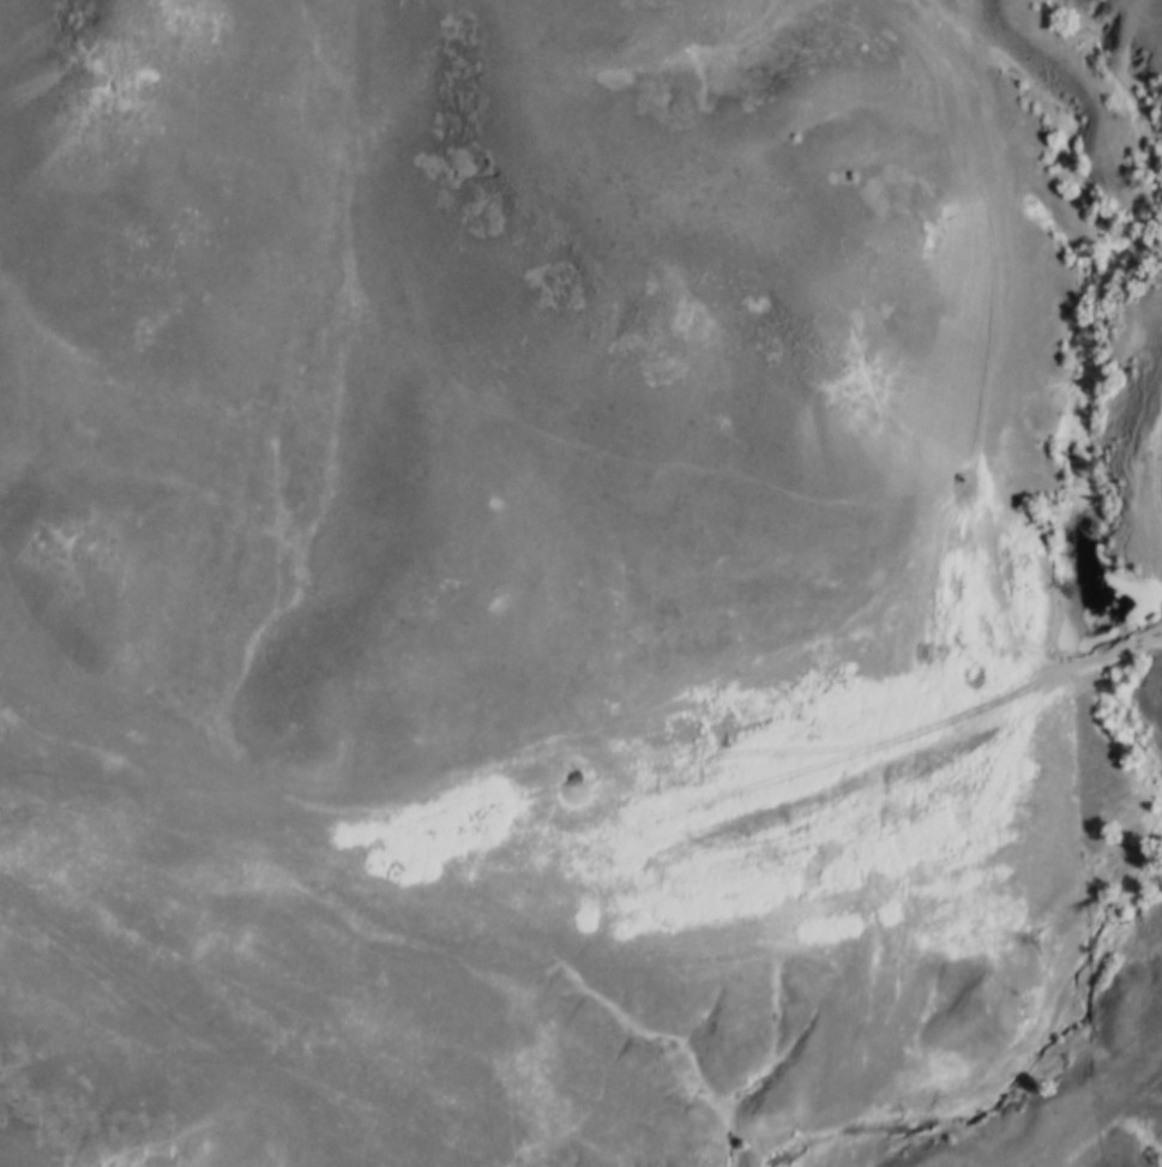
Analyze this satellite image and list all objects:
road: (1108, 651)

